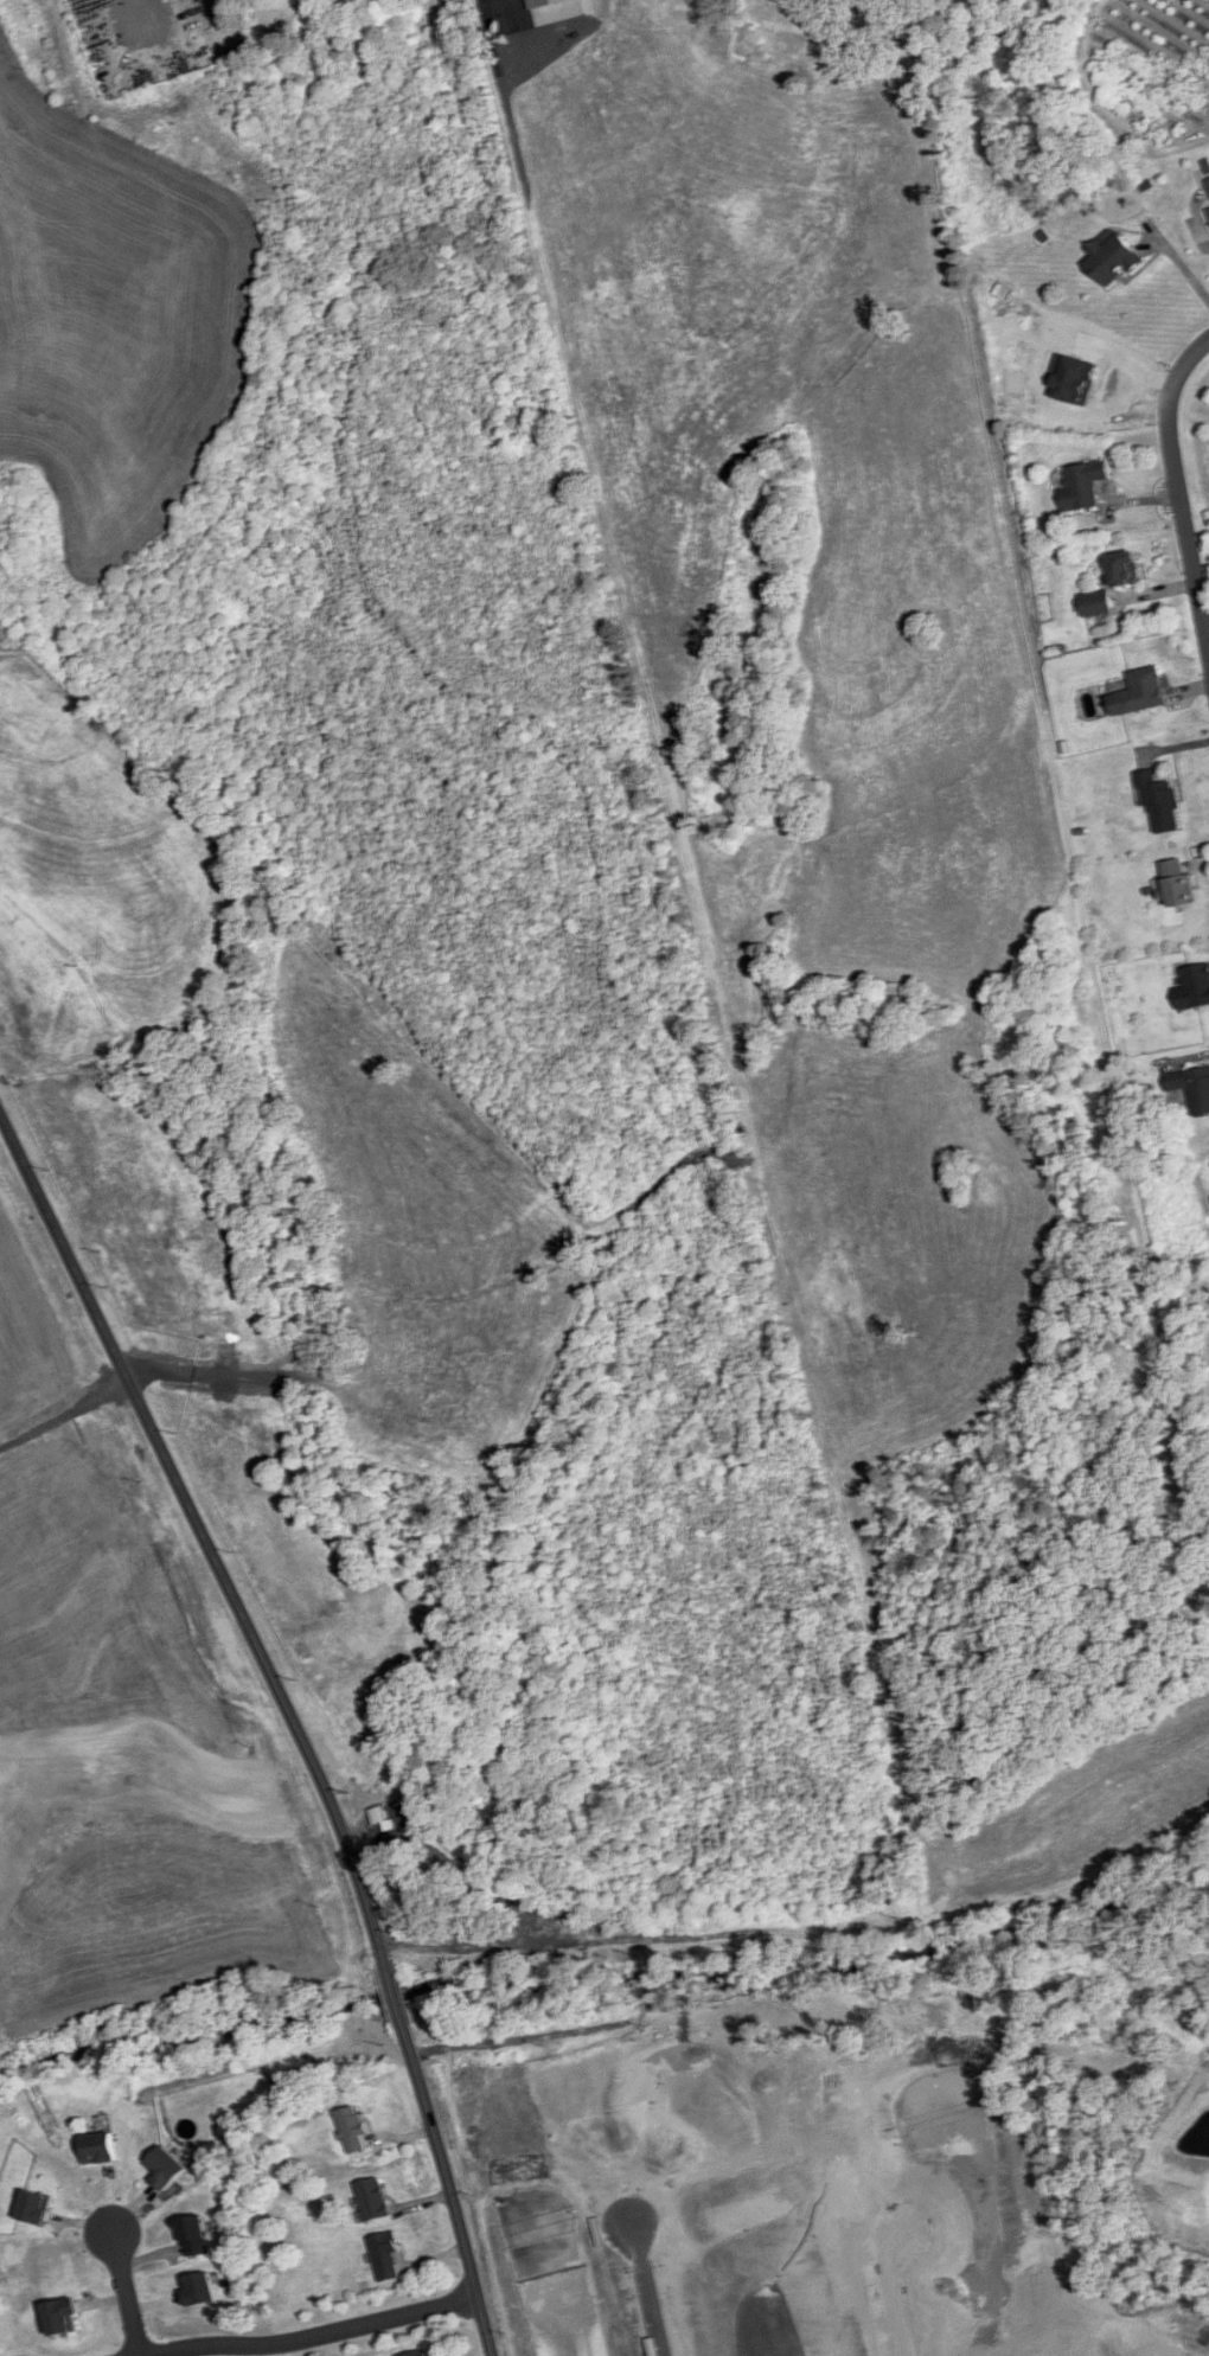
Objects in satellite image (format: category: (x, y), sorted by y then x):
building: (1208, 184)
building: (1208, 210)
building: (1114, 257)
road: (1175, 274)
building: (1085, 485)
road: (1178, 491)
building: (1127, 569)
building: (1099, 603)
building: (1145, 691)
building: (1160, 801)
building: (1181, 883)
building: (1195, 988)
building: (1191, 1088)
building: (231, 1344)
building: (109, 1498)
road: (294, 1720)
building: (354, 2128)
building: (101, 2149)
building: (167, 2169)
building: (375, 2200)
building: (37, 2207)
building: (196, 2236)
building: (388, 2256)
building: (199, 2288)
road: (644, 2292)
road: (123, 2297)
building: (63, 2316)
road: (312, 2338)
building: (420, 2354)

